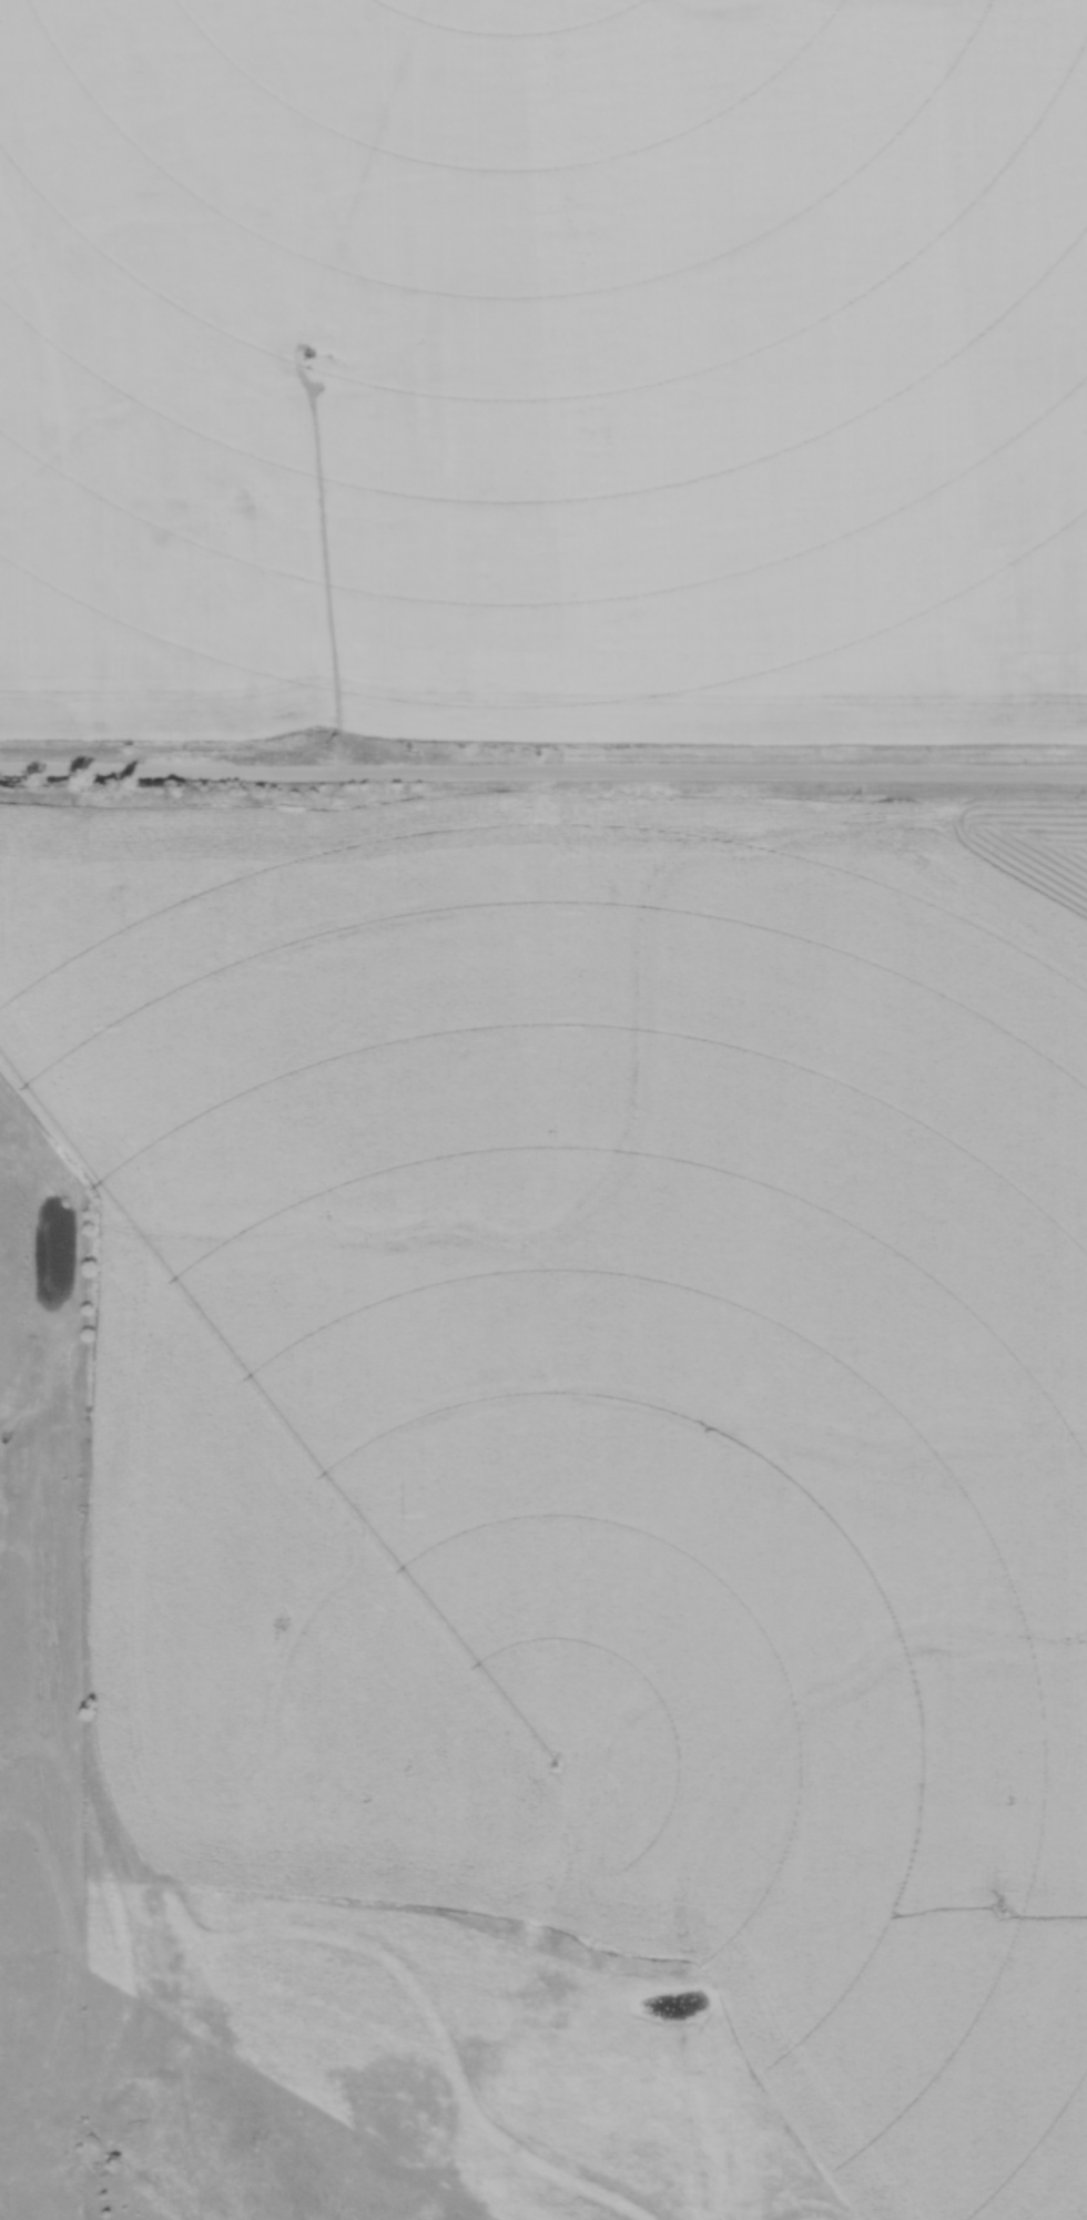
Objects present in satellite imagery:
road: (542, 772)

